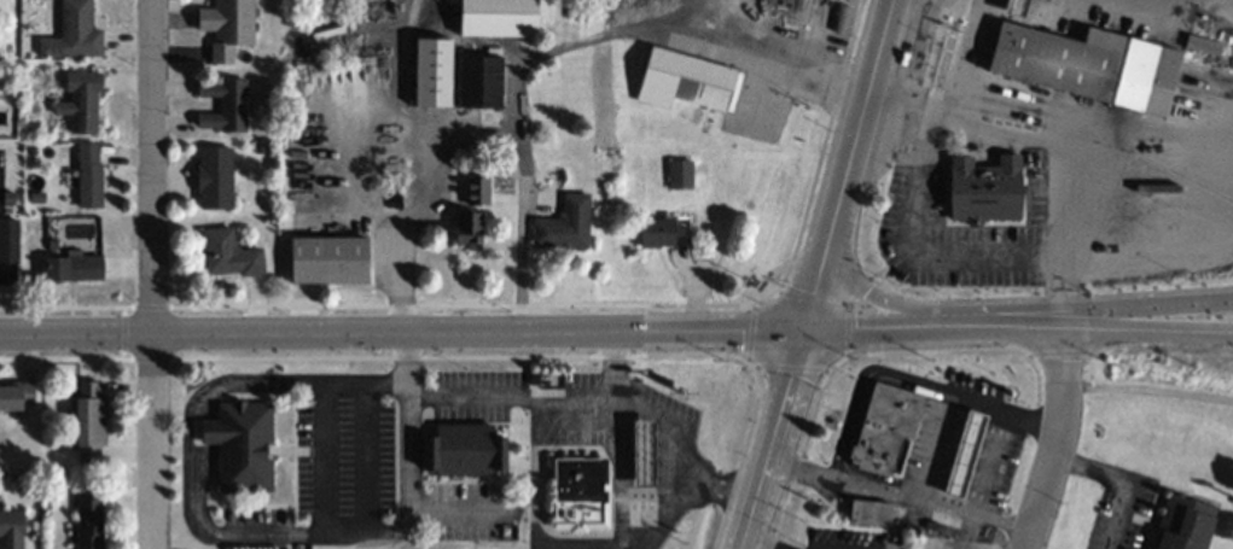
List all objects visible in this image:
building: (1018, 7)
building: (500, 18)
building: (229, 21)
building: (74, 31)
road: (565, 46)
building: (1094, 64)
building: (435, 72)
building: (686, 82)
building: (482, 83)
building: (81, 100)
building: (226, 104)
road: (862, 113)
road: (1049, 136)
road: (356, 160)
road: (431, 163)
road: (147, 164)
building: (680, 174)
building: (217, 175)
building: (89, 176)
building: (987, 191)
building: (564, 224)
building: (471, 228)
road: (1072, 229)
building: (659, 234)
building: (8, 241)
road: (837, 243)
building: (228, 253)
building: (332, 261)
building: (74, 267)
road: (876, 271)
road: (849, 274)
road: (818, 278)
road: (778, 291)
road: (857, 292)
road: (814, 300)
road: (1181, 304)
road: (564, 305)
road: (751, 305)
road: (124, 306)
road: (151, 306)
road: (62, 308)
road: (929, 311)
road: (967, 323)
road: (1181, 328)
road: (401, 329)
road: (848, 331)
road: (750, 332)
road: (926, 354)
road: (459, 355)
road: (790, 367)
road: (755, 368)
road: (883, 375)
road: (1034, 376)
road: (802, 391)
building: (18, 395)
road: (529, 397)
building: (91, 421)
building: (888, 430)
road: (1054, 434)
road: (770, 438)
road: (147, 439)
road: (998, 439)
building: (243, 445)
road: (679, 446)
building: (472, 448)
road: (802, 448)
road: (935, 448)
building: (646, 452)
building: (969, 452)
gas station: (969, 452)
road: (743, 454)
road: (409, 455)
parking lot: (844, 457)
parking lot: (929, 466)
road: (1124, 479)
road: (1188, 485)
building: (582, 493)
road: (191, 495)
road: (896, 496)
parking lot: (1116, 501)
building: (871, 512)
building: (91, 520)
building: (1188, 522)
building: (12, 528)
parking lot: (848, 537)
parking lot: (964, 542)
road: (746, 547)
road: (552, 548)

